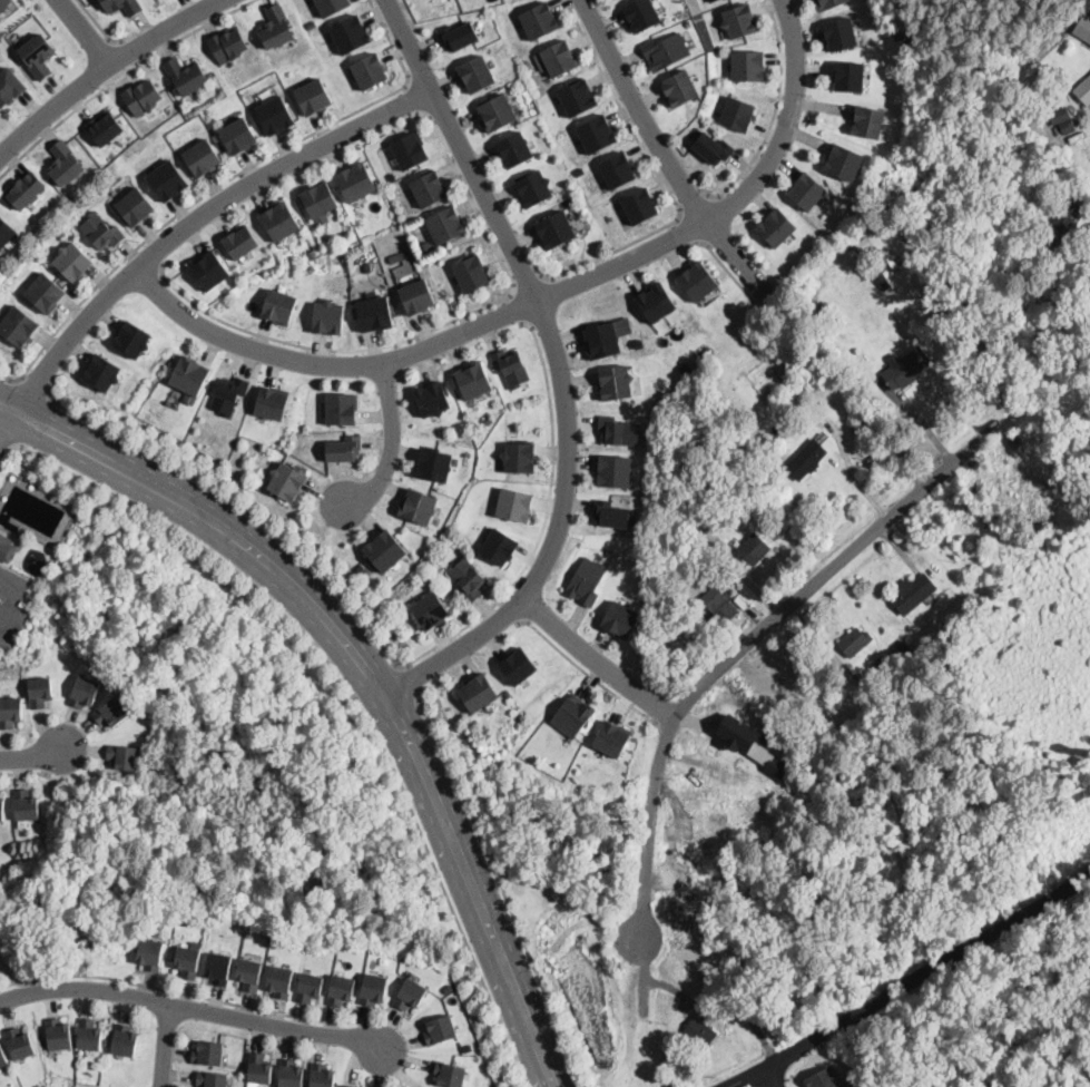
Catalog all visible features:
building: (710, 0)
building: (3, 3)
building: (831, 3)
building: (132, 6)
building: (332, 6)
building: (641, 13)
building: (1, 17)
building: (539, 19)
building: (739, 19)
building: (688, 22)
building: (312, 23)
road: (98, 26)
building: (277, 26)
building: (1083, 27)
building: (841, 31)
road: (87, 33)
building: (350, 35)
building: (459, 35)
building: (228, 43)
building: (1088, 45)
building: (666, 49)
park: (963, 49)
road: (131, 51)
building: (37, 53)
building: (557, 57)
building: (747, 63)
road: (107, 71)
building: (370, 71)
building: (475, 74)
building: (184, 75)
building: (850, 75)
road: (120, 77)
building: (10, 86)
building: (680, 86)
building: (1083, 90)
building: (143, 96)
building: (577, 96)
building: (313, 97)
road: (413, 99)
building: (497, 111)
building: (738, 111)
road: (773, 112)
building: (275, 114)
road: (642, 114)
building: (1062, 119)
building: (868, 120)
building: (105, 126)
building: (596, 131)
building: (237, 136)
building: (714, 146)
building: (513, 149)
building: (410, 150)
building: (203, 158)
building: (844, 159)
building: (65, 160)
building: (617, 168)
building: (580, 170)
road: (660, 175)
building: (168, 179)
building: (355, 182)
road: (222, 184)
building: (26, 188)
building: (429, 188)
building: (533, 188)
building: (807, 189)
building: (320, 203)
road: (694, 203)
building: (639, 205)
building: (135, 206)
road: (199, 219)
building: (1064, 219)
building: (281, 222)
building: (445, 225)
building: (776, 226)
road: (689, 228)
building: (101, 229)
building: (554, 229)
building: (6, 231)
building: (240, 243)
building: (863, 245)
building: (313, 253)
building: (395, 256)
road: (737, 257)
building: (73, 259)
road: (149, 259)
building: (367, 265)
building: (403, 268)
building: (209, 270)
road: (730, 271)
building: (887, 272)
building: (470, 273)
road: (526, 280)
building: (698, 280)
building: (883, 284)
building: (45, 291)
building: (416, 297)
building: (655, 301)
road: (541, 303)
building: (279, 307)
road: (515, 307)
building: (828, 309)
building: (374, 314)
building: (328, 317)
building: (18, 324)
road: (428, 331)
building: (131, 340)
building: (601, 341)
building: (511, 368)
road: (561, 368)
building: (906, 368)
building: (101, 373)
building: (189, 378)
building: (473, 381)
building: (615, 382)
road: (36, 385)
building: (228, 394)
building: (432, 398)
building: (272, 403)
building: (341, 409)
building: (488, 419)
road: (8, 429)
building: (618, 431)
road: (6, 444)
road: (394, 444)
building: (343, 449)
building: (520, 458)
building: (805, 459)
building: (434, 464)
building: (613, 471)
building: (287, 481)
building: (513, 505)
building: (418, 507)
building: (611, 515)
building: (703, 537)
building: (500, 545)
building: (7, 548)
building: (754, 549)
building: (384, 550)
building: (362, 568)
road: (17, 570)
building: (467, 579)
building: (586, 581)
building: (912, 593)
building: (713, 598)
road: (12, 605)
parking lot: (12, 606)
building: (430, 610)
road: (510, 610)
building: (975, 614)
building: (621, 618)
building: (685, 623)
building: (689, 631)
building: (690, 639)
building: (853, 642)
road: (743, 647)
building: (900, 649)
road: (390, 653)
building: (916, 655)
road: (598, 664)
building: (518, 665)
road: (369, 668)
building: (920, 669)
road: (590, 675)
road: (413, 677)
building: (85, 689)
building: (40, 691)
building: (478, 691)
road: (350, 693)
building: (110, 709)
building: (10, 711)
building: (573, 714)
building: (611, 737)
building: (122, 755)
road: (33, 758)
road: (24, 773)
building: (26, 805)
building: (2, 806)
road: (501, 883)
building: (184, 920)
building: (249, 933)
building: (149, 953)
building: (187, 961)
park: (1061, 964)
building: (217, 968)
building: (752, 970)
building: (249, 975)
building: (279, 981)
road: (911, 982)
building: (308, 987)
building: (374, 987)
building: (341, 988)
building: (448, 988)
road: (179, 992)
building: (410, 992)
road: (194, 1011)
building: (440, 1028)
building: (699, 1031)
building: (58, 1035)
building: (88, 1035)
building: (124, 1040)
building: (19, 1044)
road: (166, 1047)
building: (207, 1052)
building: (2, 1058)
building: (259, 1068)
building: (289, 1074)
building: (449, 1075)
building: (321, 1076)
road: (774, 1078)
building: (824, 1078)
building: (212, 1079)
building: (346, 1086)

